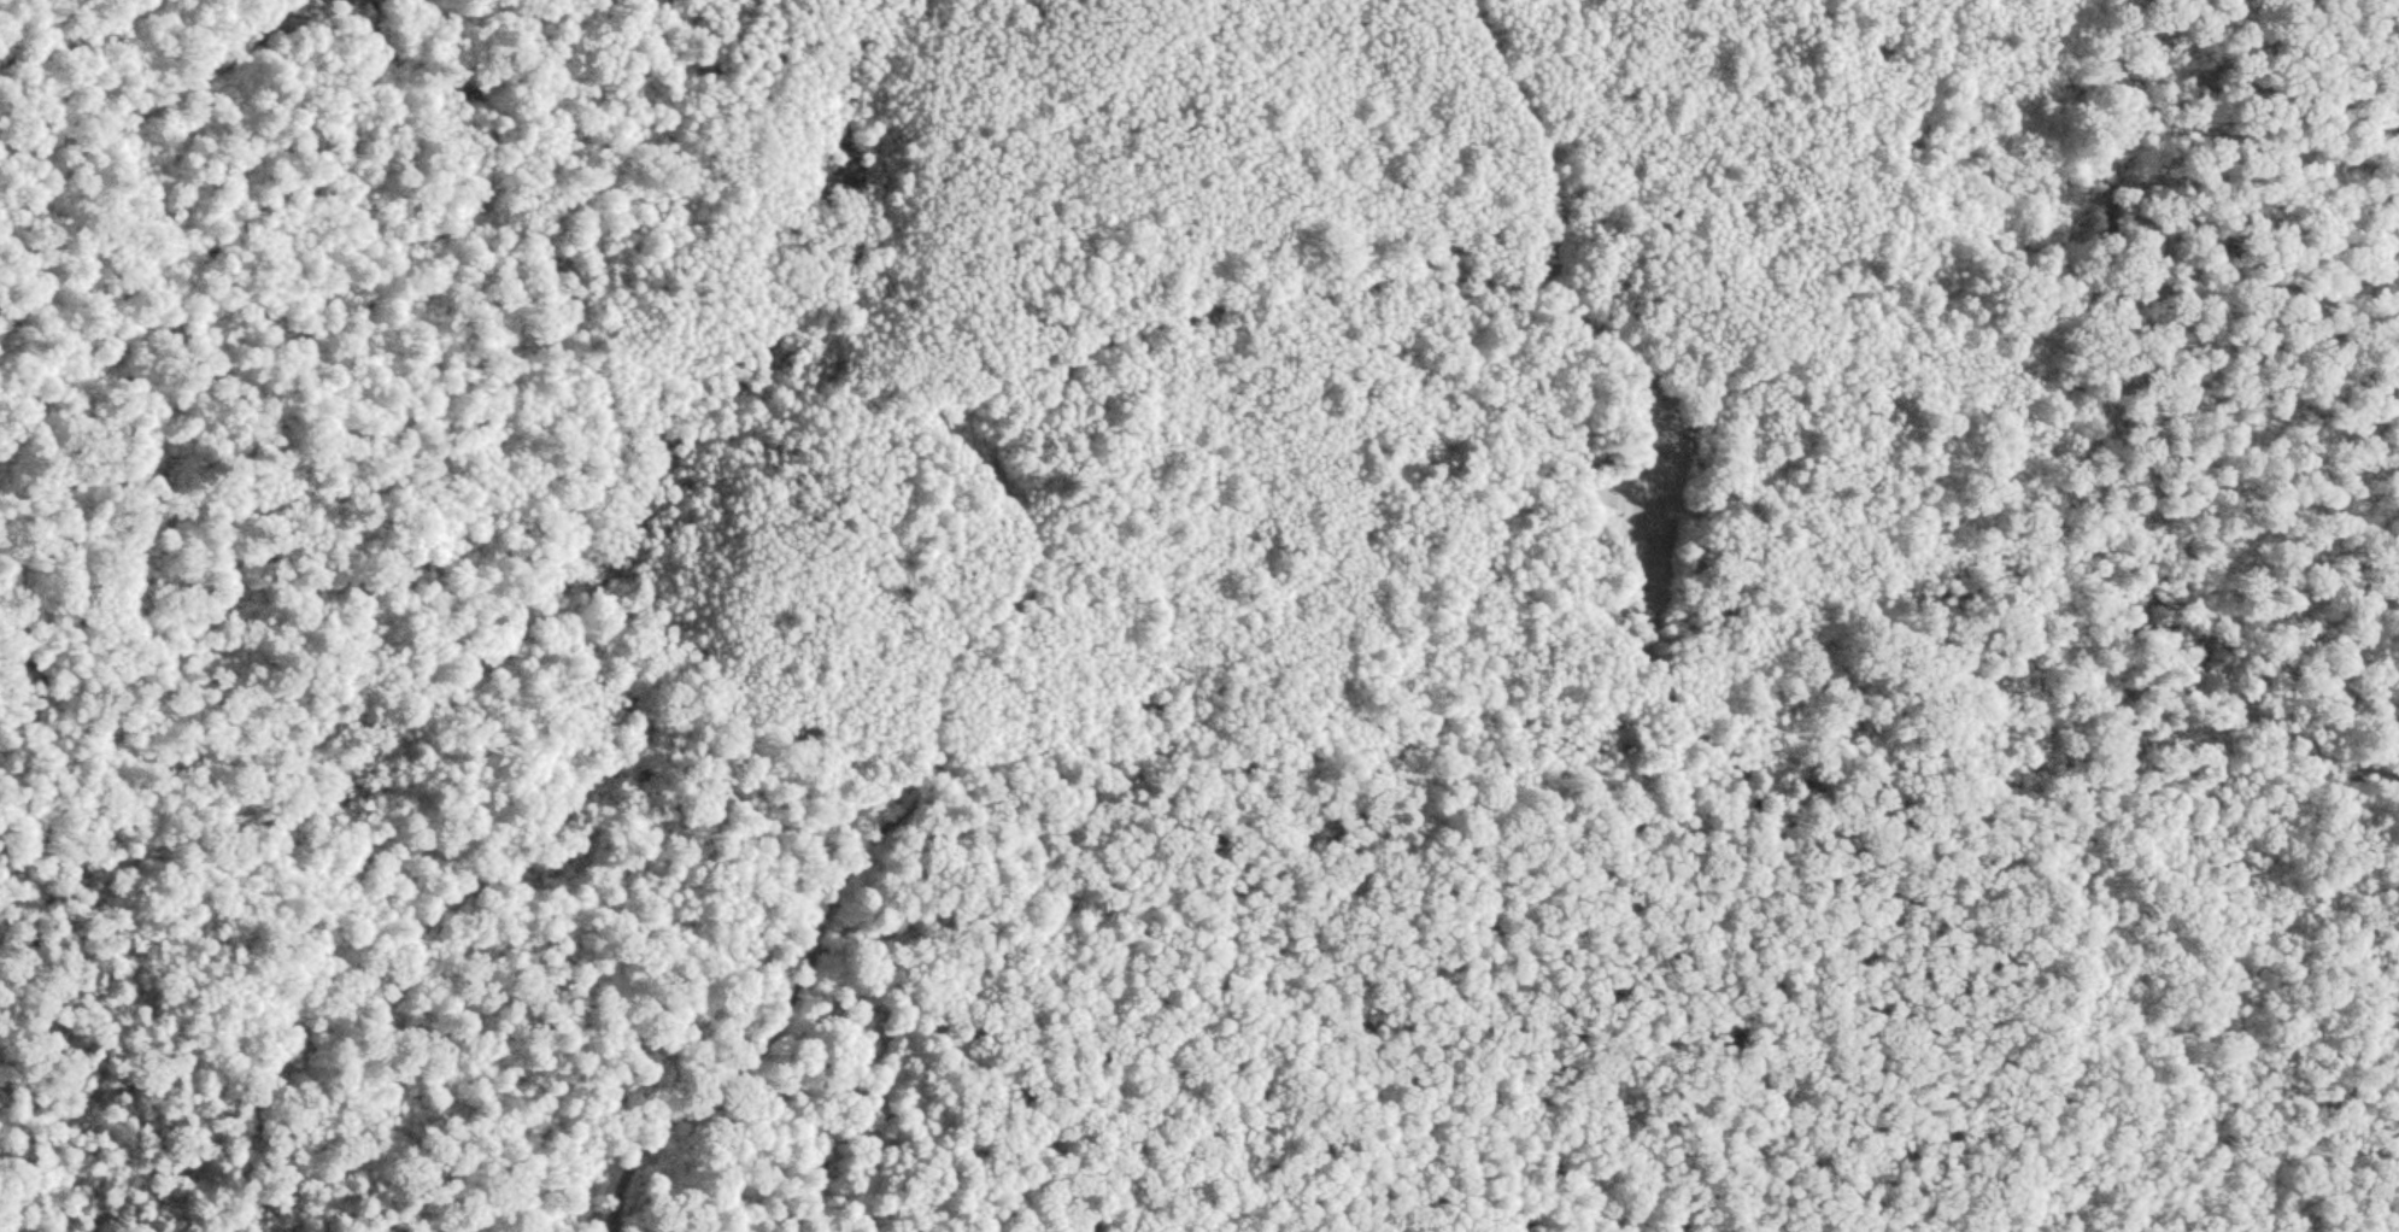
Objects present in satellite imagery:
building: (1683, 426)

